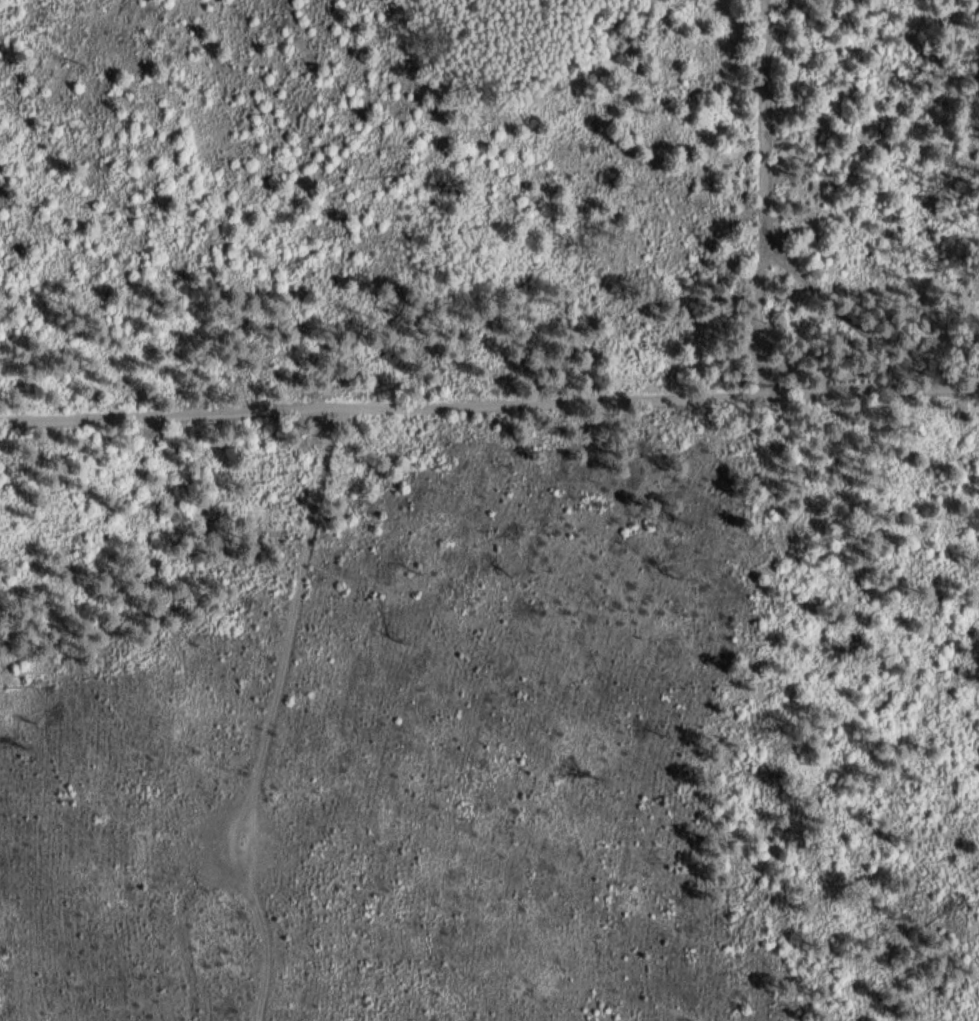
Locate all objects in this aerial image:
road: (945, 151)
road: (767, 196)
road: (489, 402)
road: (221, 715)

